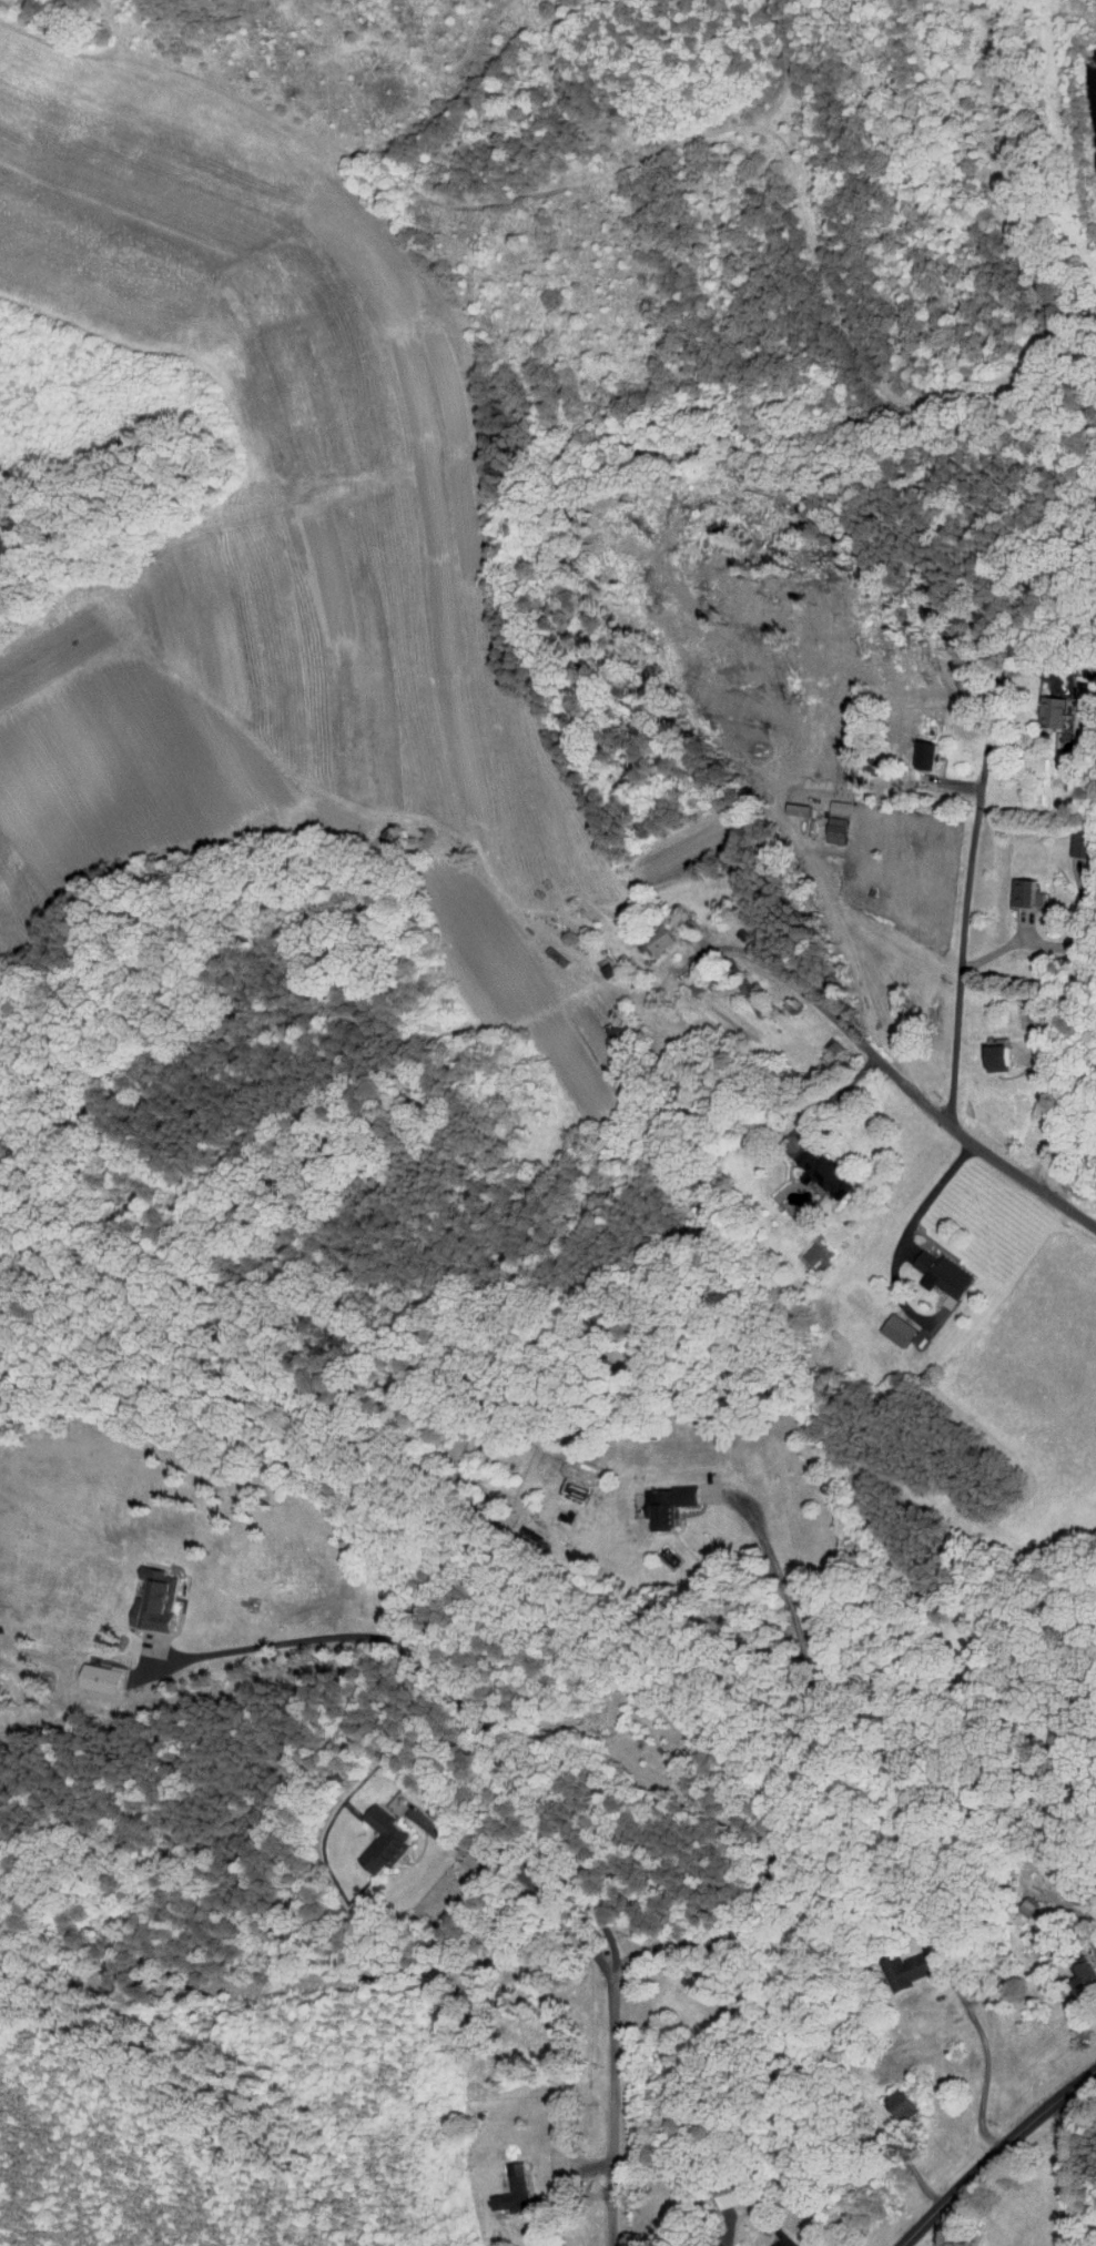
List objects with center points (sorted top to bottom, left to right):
building: (1045, 702)
building: (922, 748)
building: (832, 797)
building: (828, 823)
building: (1072, 838)
building: (1018, 886)
road: (967, 907)
building: (648, 935)
road: (727, 948)
building: (991, 1051)
road: (833, 1091)
road: (938, 1114)
road: (1054, 1126)
road: (934, 1182)
building: (934, 1267)
building: (937, 1294)
building: (661, 1499)
building: (149, 1595)
road: (347, 1635)
building: (95, 1672)
road: (784, 1759)
building: (376, 1834)
road: (516, 1871)
building: (899, 1963)
building: (1075, 1970)
road: (606, 1982)
road: (985, 2065)
building: (894, 2096)
road: (994, 2153)
road: (1063, 2174)
building: (504, 2189)
building: (777, 2238)

